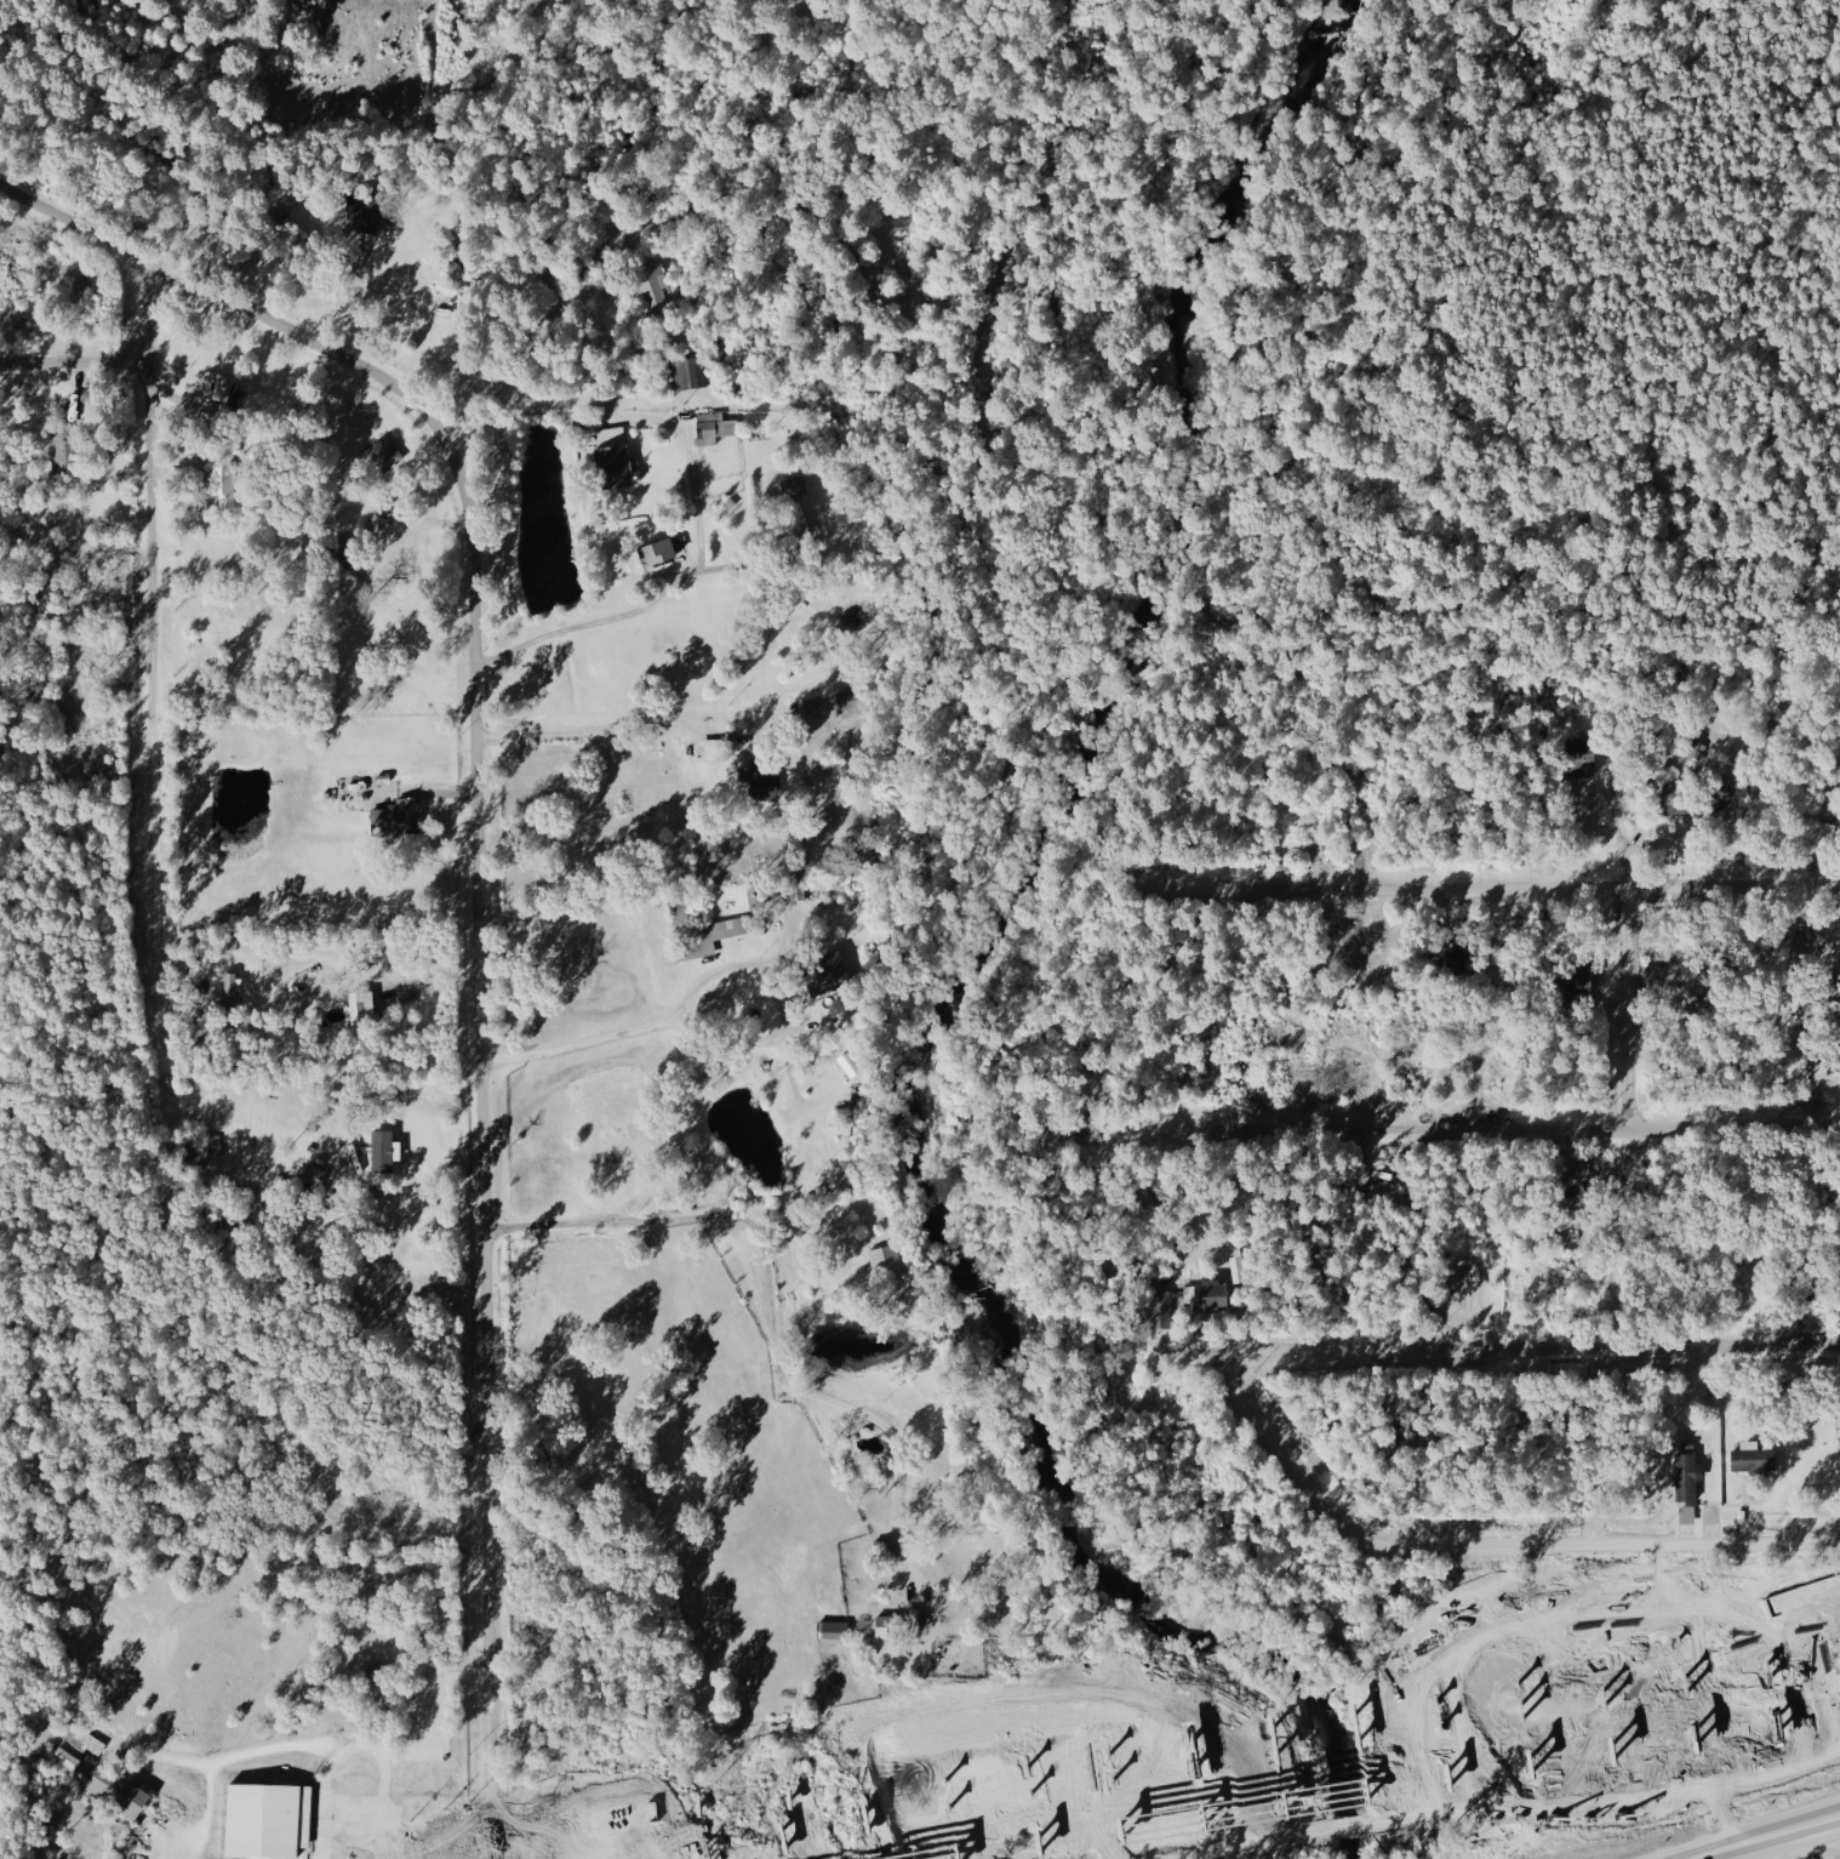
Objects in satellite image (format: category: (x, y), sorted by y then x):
building: (655, 286)
road: (74, 363)
building: (691, 373)
building: (219, 386)
building: (714, 426)
building: (607, 437)
building: (57, 452)
building: (612, 467)
building: (221, 485)
building: (794, 489)
building: (659, 553)
road: (676, 581)
road: (154, 656)
road: (593, 735)
building: (1582, 763)
building: (759, 785)
building: (1680, 802)
building: (400, 817)
building: (714, 851)
road: (480, 855)
road: (1495, 891)
building: (1452, 964)
river: (958, 974)
building: (823, 975)
building: (1577, 982)
road: (1630, 985)
building: (229, 990)
building: (360, 1019)
road: (719, 1031)
building: (850, 1066)
road: (1452, 1130)
building: (383, 1152)
road: (407, 1194)
building: (887, 1265)
building: (1464, 1287)
building: (1212, 1296)
road: (775, 1310)
building: (1165, 1310)
road: (1545, 1350)
road: (1282, 1448)
building: (1753, 1458)
building: (1686, 1477)
road: (1598, 1549)
road: (1810, 1597)
building: (829, 1630)
road: (1222, 1735)
road: (1273, 1745)
building: (70, 1749)
road: (1388, 1780)
building: (116, 1791)
building: (267, 1820)
road: (553, 1834)
road: (1775, 1841)
road: (708, 1858)

